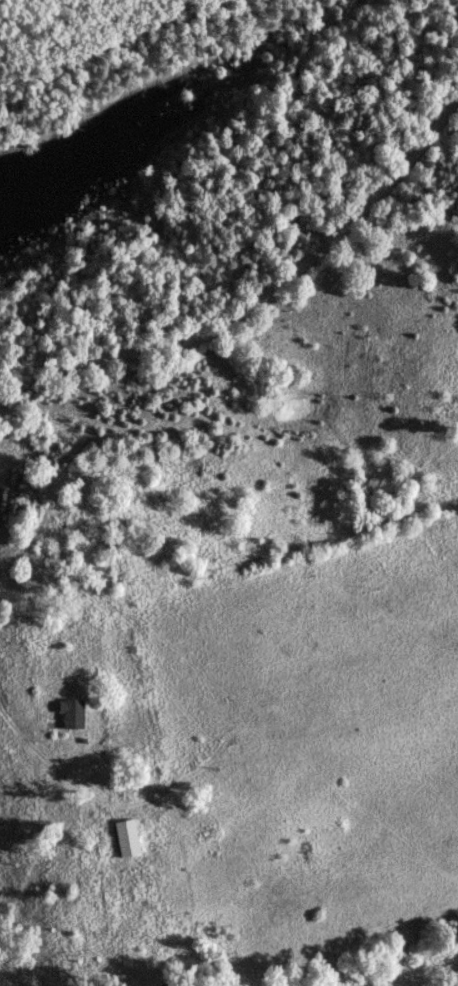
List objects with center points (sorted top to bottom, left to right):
road: (261, 292)
building: (67, 712)
building: (120, 836)

